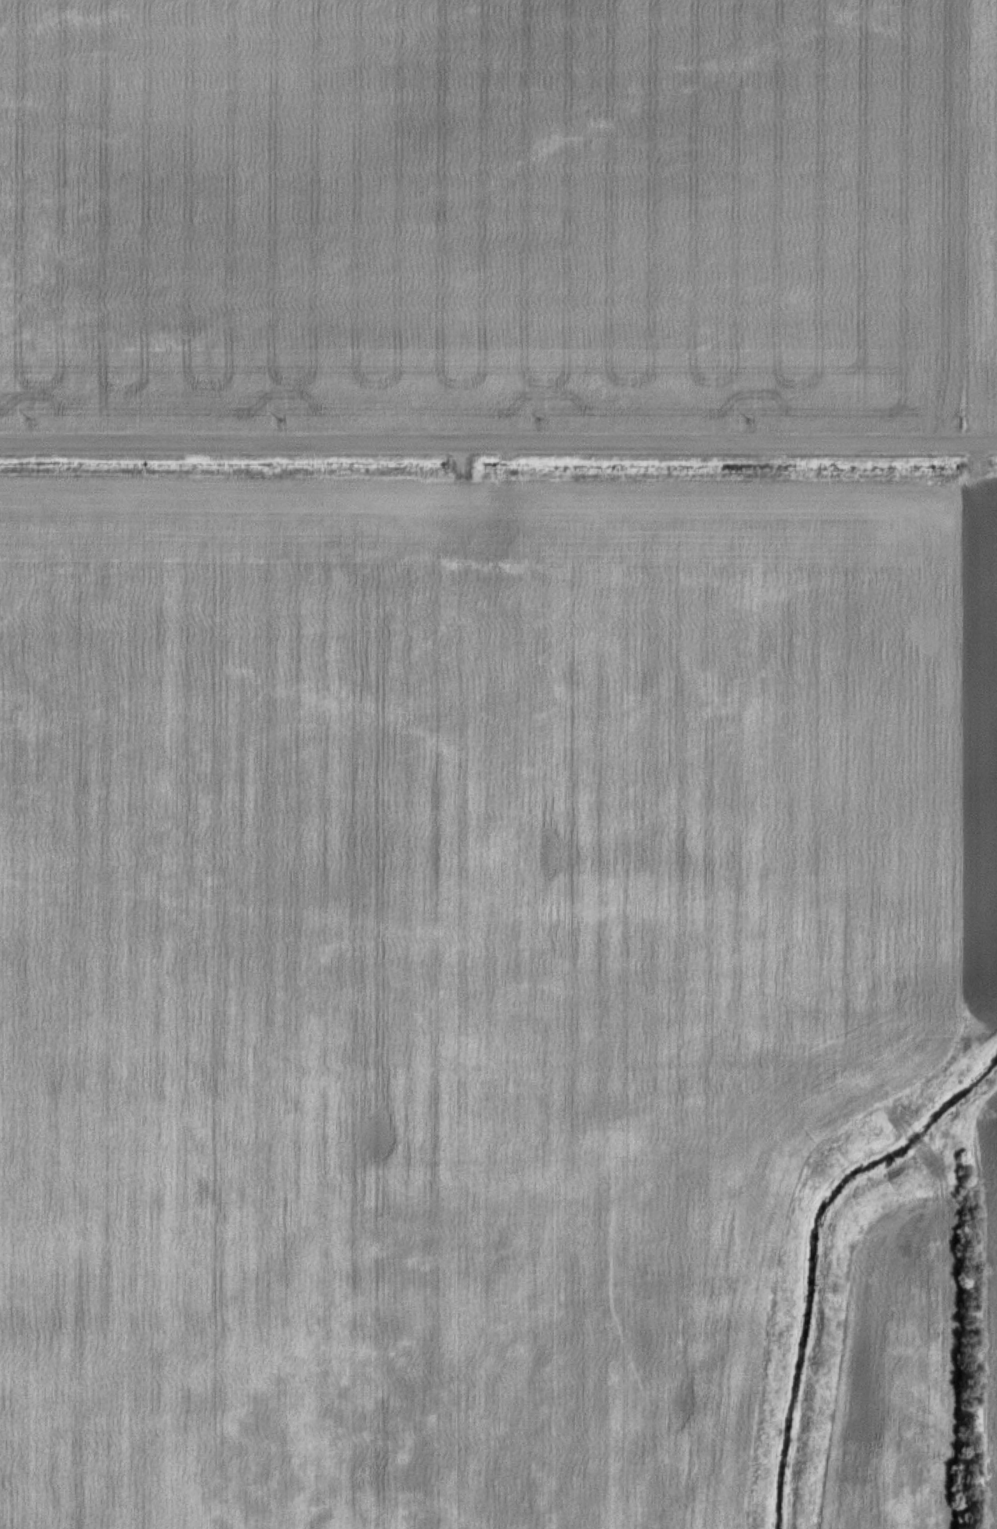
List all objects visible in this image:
road: (498, 441)

